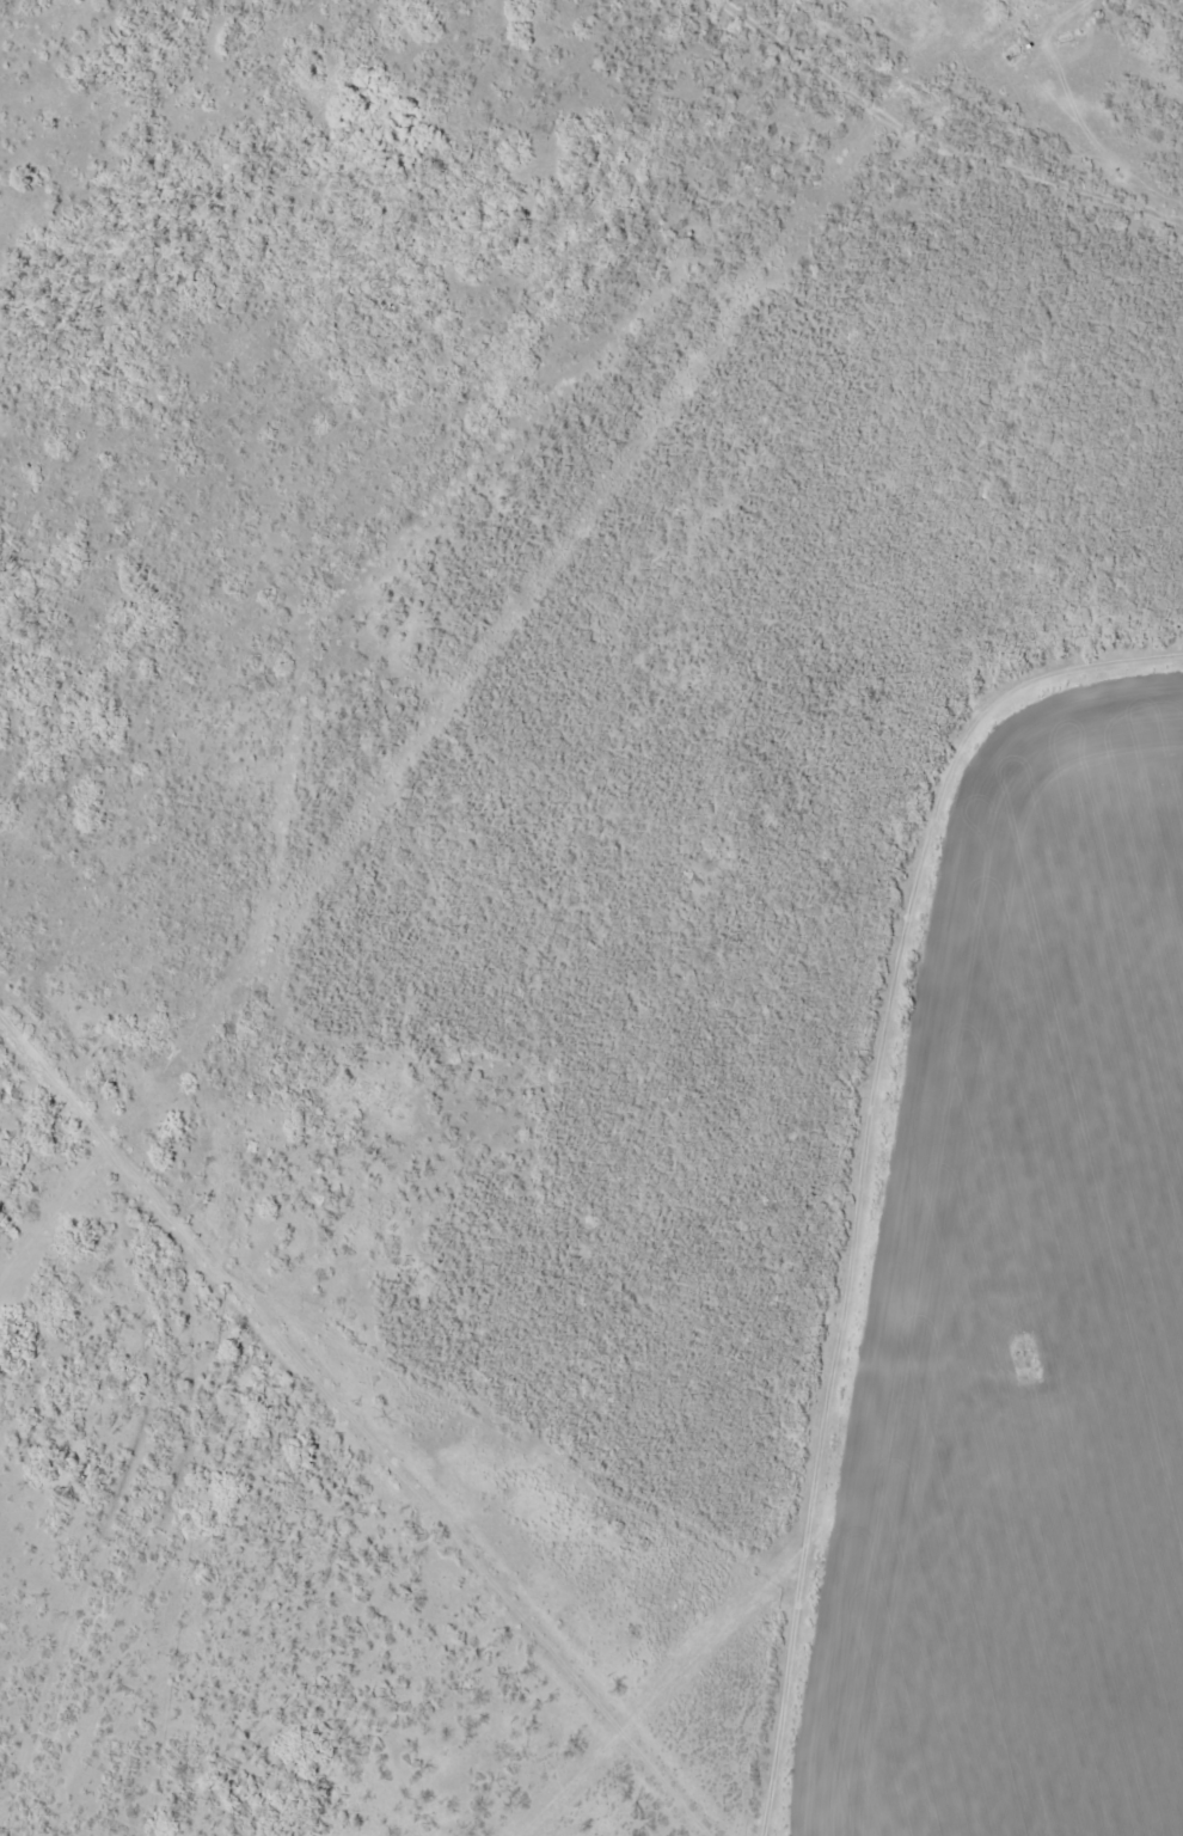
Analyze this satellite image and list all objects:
road: (262, 84)
road: (859, 1158)
road: (374, 1404)

